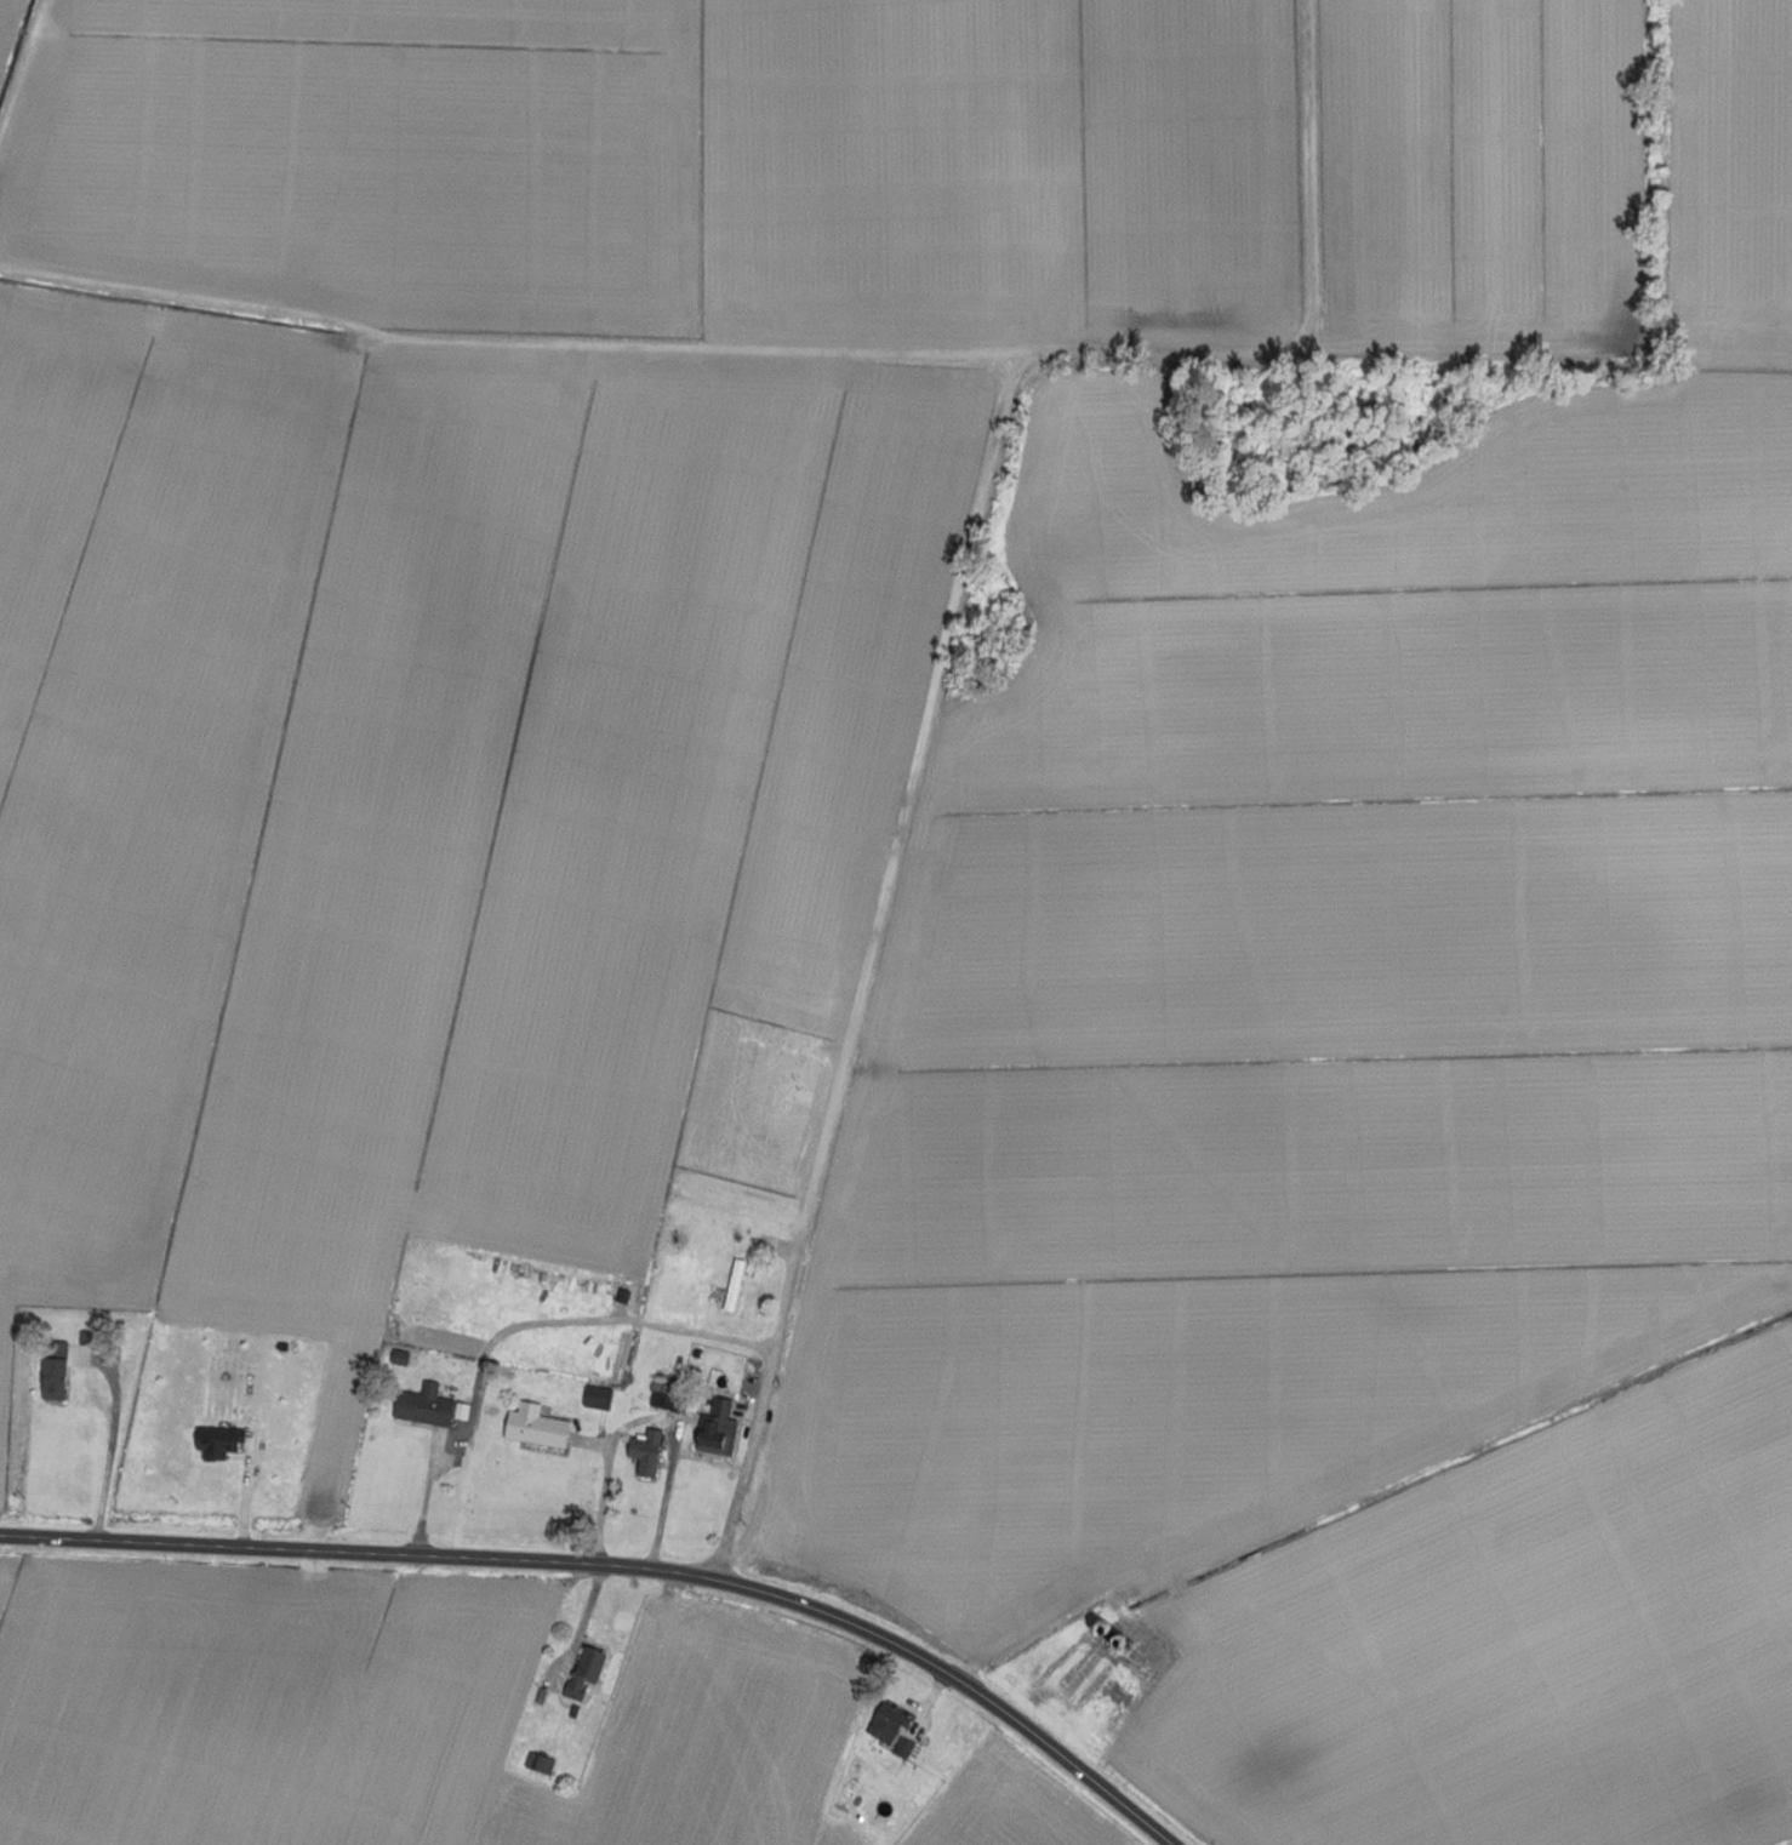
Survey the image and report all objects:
building: (732, 1284)
road: (630, 1320)
building: (51, 1370)
building: (594, 1396)
building: (667, 1396)
building: (422, 1405)
building: (532, 1426)
building: (714, 1428)
building: (216, 1440)
building: (643, 1451)
road: (114, 1452)
road: (626, 1564)
building: (581, 1672)
building: (888, 1727)
building: (537, 1763)

